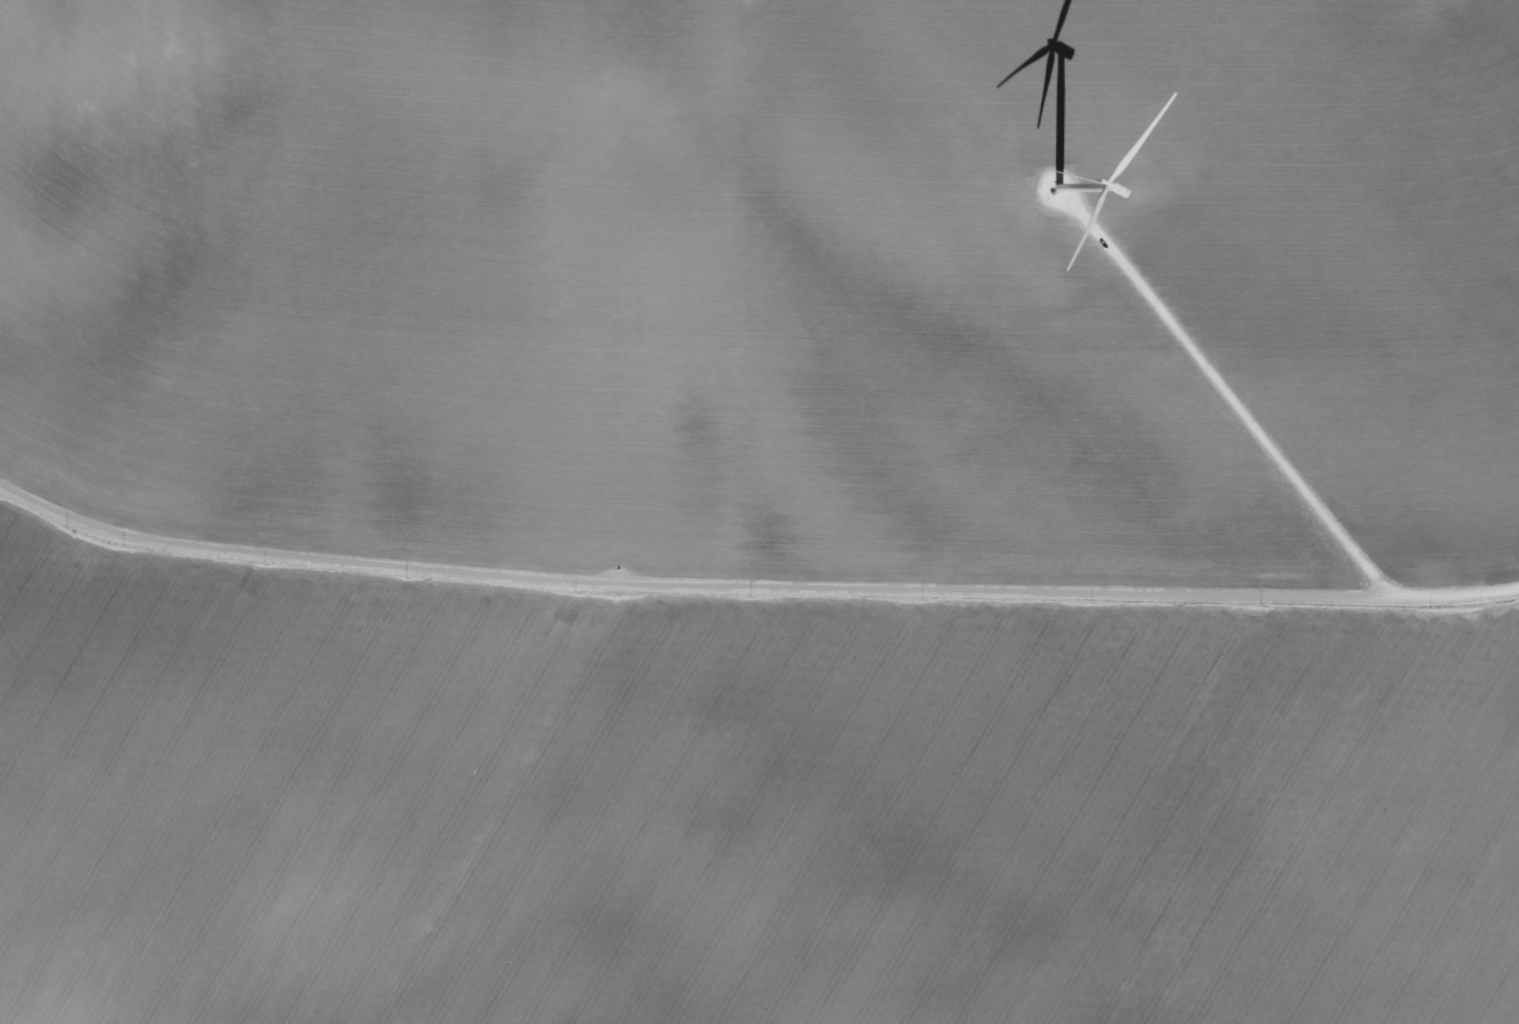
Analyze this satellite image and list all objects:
wind turbine: (1057, 188)
road: (751, 597)

